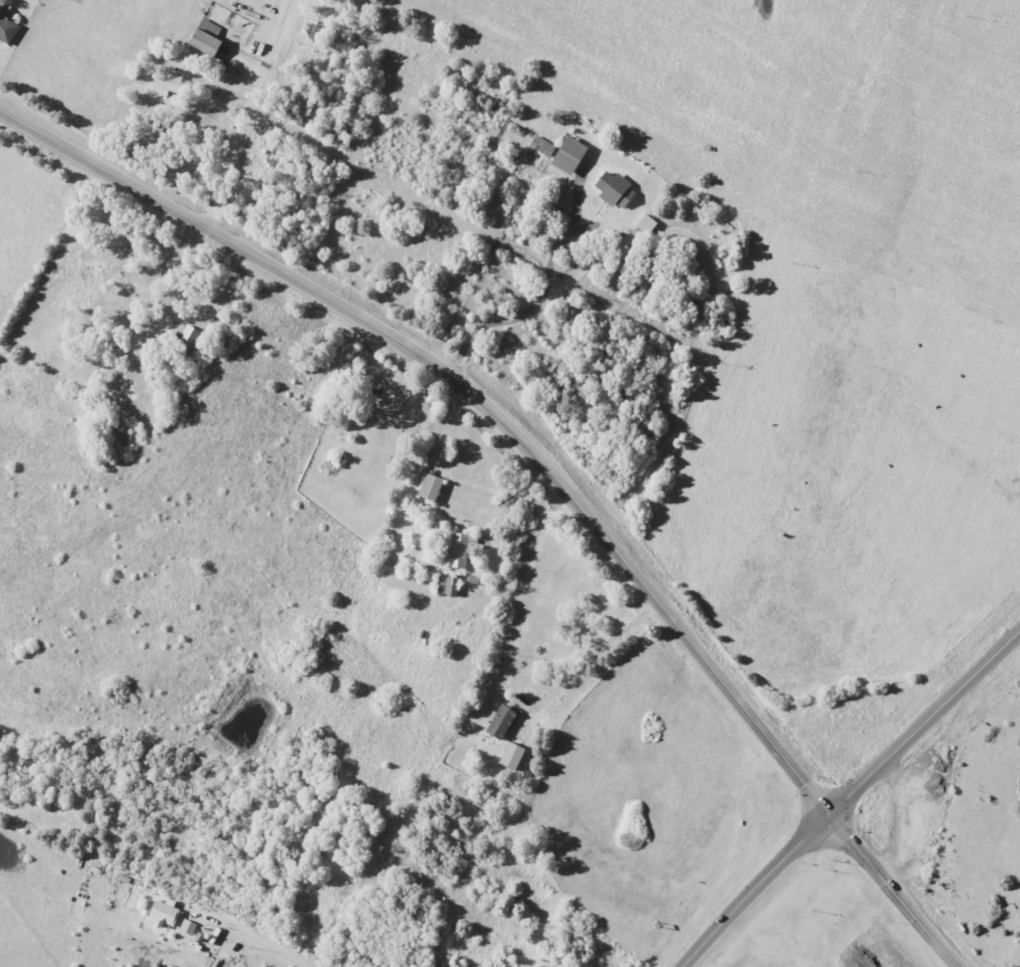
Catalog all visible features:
building: (7, 27)
building: (207, 39)
building: (168, 81)
road: (244, 113)
building: (543, 146)
building: (572, 156)
building: (616, 190)
building: (648, 224)
road: (582, 270)
road: (210, 359)
building: (148, 369)
park: (368, 447)
road: (544, 463)
building: (432, 488)
road: (501, 505)
building: (460, 551)
building: (449, 586)
building: (502, 722)
building: (514, 756)
road: (848, 794)
building: (165, 912)
building: (188, 926)
road: (252, 940)

